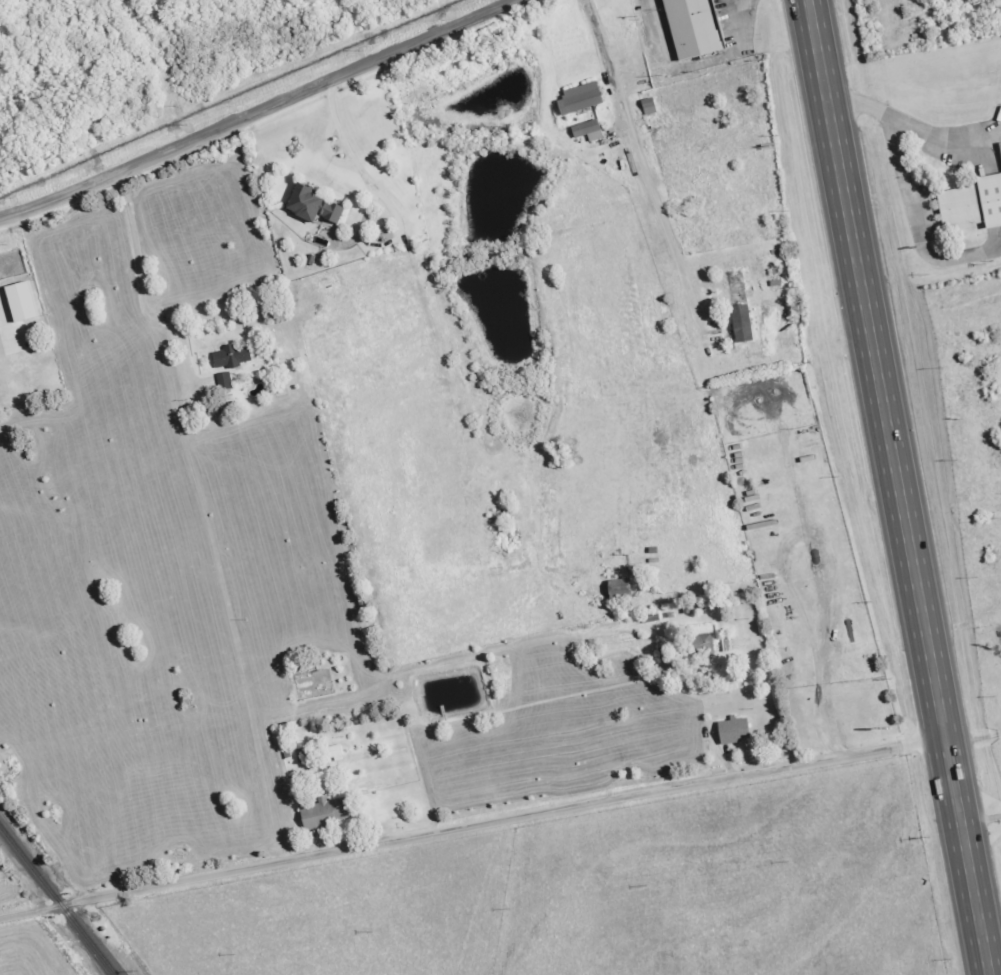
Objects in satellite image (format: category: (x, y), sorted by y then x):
building: (693, 26)
building: (574, 98)
road: (257, 110)
building: (586, 130)
road: (914, 131)
road: (983, 161)
road: (362, 169)
road: (645, 172)
building: (310, 205)
road: (994, 209)
building: (973, 212)
road: (917, 230)
road: (140, 292)
building: (17, 302)
building: (741, 323)
building: (229, 356)
building: (223, 382)
road: (896, 487)
building: (617, 589)
building: (702, 646)
road: (819, 681)
building: (731, 730)
road: (973, 741)
building: (331, 753)
building: (302, 755)
building: (322, 814)
road: (980, 821)
road: (471, 828)
railway: (56, 902)

